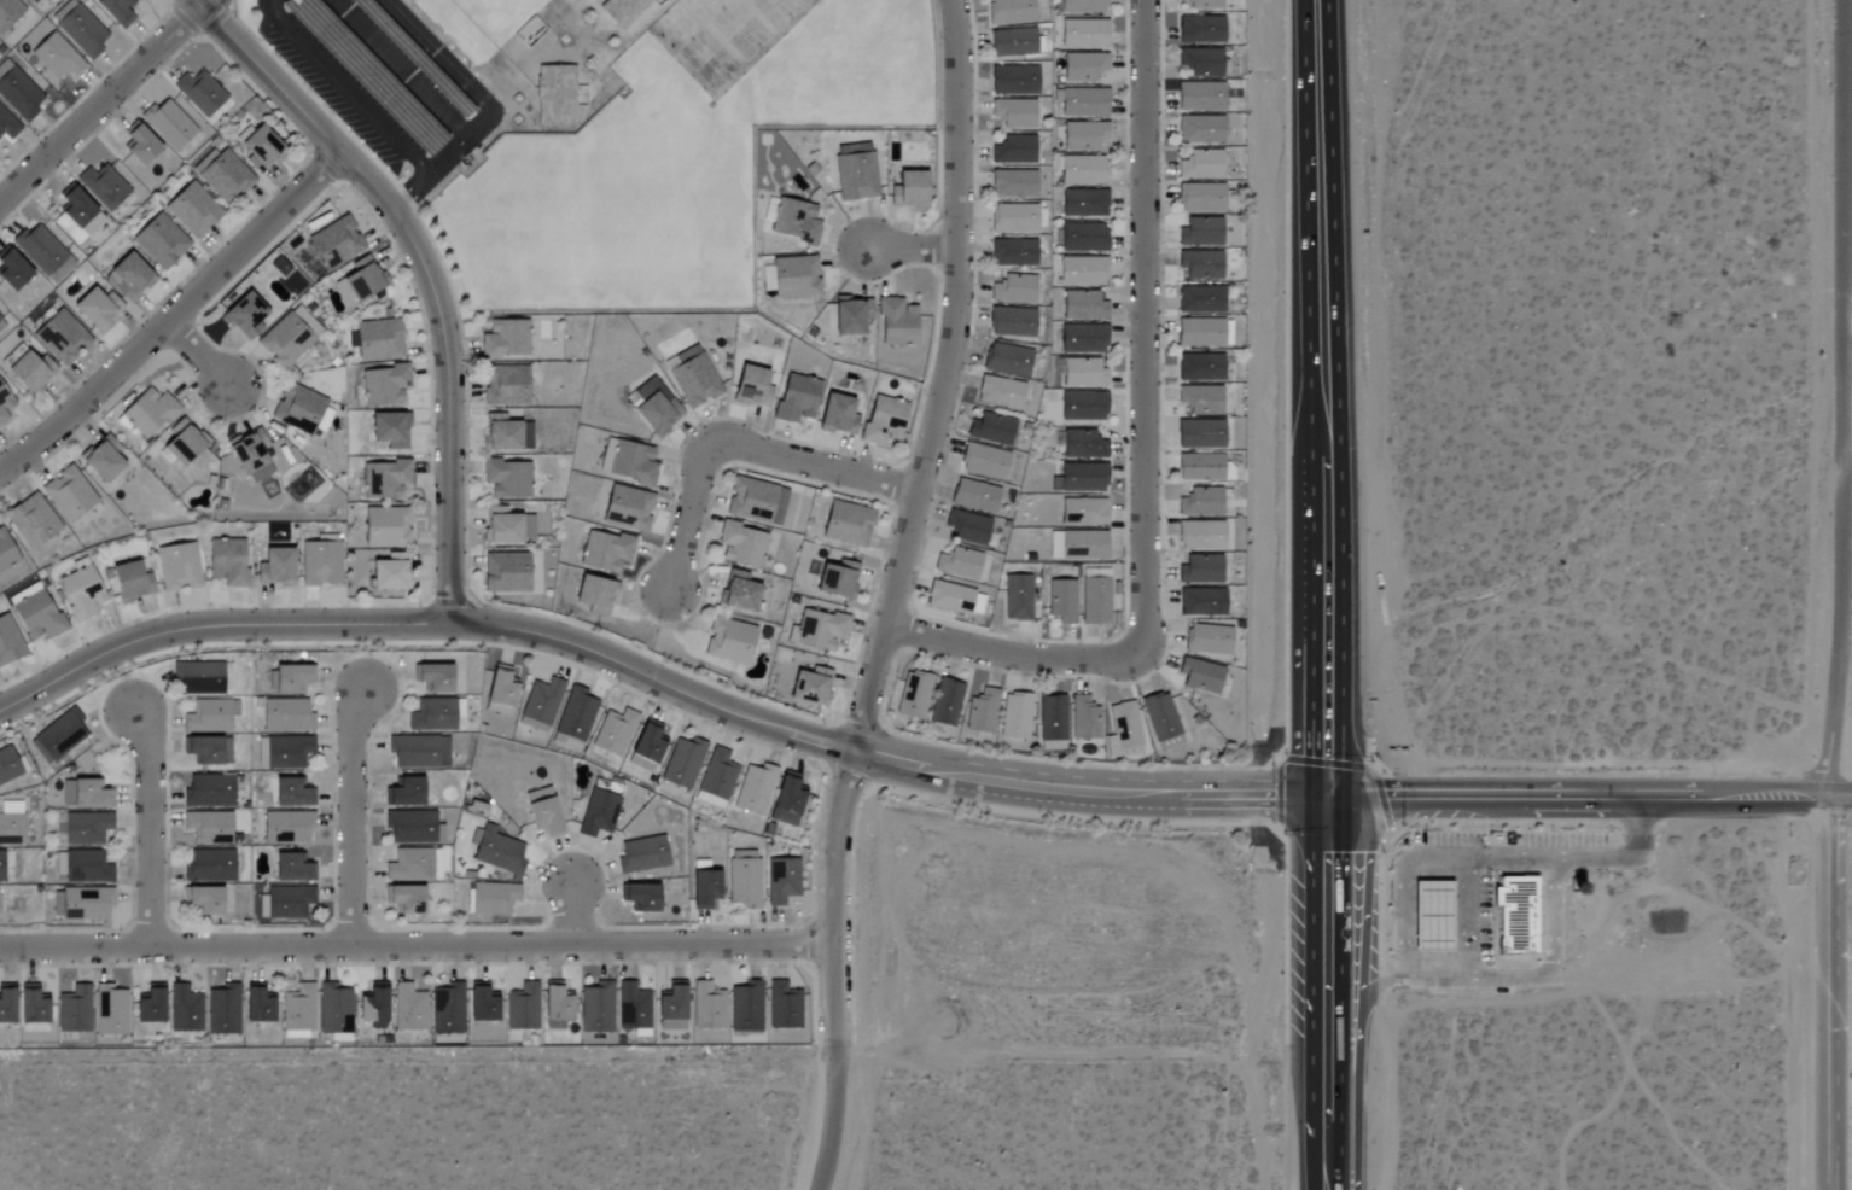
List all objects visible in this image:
building: (34, 1)
building: (1200, 5)
building: (1083, 6)
building: (622, 10)
building: (116, 11)
building: (1011, 11)
building: (8, 12)
building: (82, 30)
building: (1199, 30)
building: (1083, 34)
building: (1013, 42)
building: (56, 57)
building: (1200, 62)
building: (1083, 66)
road: (400, 68)
road: (454, 68)
building: (1013, 81)
building: (17, 92)
building: (199, 93)
building: (1200, 97)
road: (104, 101)
building: (1084, 103)
road: (361, 106)
building: (1013, 113)
building: (7, 124)
building: (168, 124)
building: (1200, 130)
building: (1084, 136)
building: (139, 146)
building: (257, 147)
building: (1013, 150)
road: (447, 154)
building: (1201, 165)
building: (1082, 170)
building: (855, 173)
building: (225, 176)
building: (1013, 183)
building: (103, 187)
building: (908, 191)
building: (1200, 198)
building: (1084, 203)
building: (192, 210)
building: (78, 212)
building: (1014, 218)
building: (794, 221)
road: (1309, 224)
building: (1200, 232)
building: (1083, 238)
building: (159, 241)
building: (337, 241)
road: (913, 249)
building: (43, 252)
building: (1013, 253)
building: (1199, 266)
road: (424, 269)
building: (11, 270)
building: (1083, 272)
building: (127, 276)
building: (794, 276)
building: (360, 281)
building: (1014, 290)
building: (1199, 301)
building: (1083, 307)
building: (95, 309)
building: (850, 316)
building: (244, 317)
road: (177, 321)
building: (1012, 322)
building: (896, 323)
road: (1142, 329)
building: (1204, 333)
building: (60, 338)
building: (289, 338)
building: (505, 339)
building: (1082, 339)
building: (378, 340)
road: (199, 356)
building: (1007, 360)
building: (1199, 367)
building: (29, 372)
building: (1083, 373)
building: (692, 378)
building: (505, 385)
building: (384, 386)
building: (751, 387)
building: (1000, 392)
road: (1338, 395)
building: (797, 398)
road: (1846, 398)
building: (1200, 399)
building: (5, 404)
building: (1083, 407)
building: (656, 408)
building: (301, 409)
building: (148, 413)
building: (837, 415)
building: (883, 421)
building: (991, 428)
building: (390, 431)
building: (1199, 433)
building: (506, 434)
building: (182, 443)
building: (1083, 445)
road: (740, 449)
building: (250, 455)
building: (101, 460)
building: (984, 461)
building: (628, 462)
building: (1199, 467)
building: (1081, 478)
building: (507, 479)
building: (385, 480)
building: (68, 495)
building: (974, 496)
building: (756, 502)
building: (1200, 502)
building: (628, 508)
building: (1083, 512)
building: (31, 521)
building: (846, 524)
building: (386, 526)
building: (506, 527)
building: (967, 527)
building: (1200, 536)
building: (1083, 544)
building: (741, 546)
building: (605, 552)
building: (6, 553)
building: (320, 561)
building: (226, 562)
building: (959, 564)
building: (275, 567)
building: (177, 568)
building: (1200, 570)
building: (388, 573)
building: (505, 573)
building: (837, 581)
building: (129, 583)
building: (738, 593)
building: (80, 594)
building: (595, 595)
road: (892, 595)
building: (954, 599)
building: (1017, 599)
building: (1061, 601)
building: (1095, 601)
building: (1201, 602)
building: (36, 614)
road: (1312, 619)
building: (820, 631)
building: (1207, 640)
building: (729, 641)
building: (8, 642)
road: (1011, 653)
road: (652, 676)
building: (1200, 676)
building: (198, 678)
building: (432, 678)
building: (291, 679)
building: (810, 688)
building: (500, 690)
building: (914, 695)
building: (542, 702)
building: (947, 702)
building: (983, 712)
building: (576, 714)
building: (286, 716)
building: (433, 716)
building: (208, 717)
building: (1015, 717)
building: (1160, 717)
building: (1084, 719)
building: (1052, 723)
building: (1124, 731)
building: (615, 733)
building: (59, 736)
building: (647, 743)
building: (208, 752)
building: (286, 752)
building: (419, 752)
building: (683, 764)
building: (7, 766)
building: (716, 780)
building: (756, 791)
traffic signals: (1314, 791)
traffic signals: (1339, 791)
building: (209, 792)
road: (1583, 793)
building: (291, 794)
building: (404, 794)
building: (86, 795)
building: (787, 800)
building: (599, 809)
building: (542, 812)
road: (360, 819)
building: (11, 824)
building: (286, 827)
building: (409, 827)
building: (208, 828)
building: (86, 829)
road: (148, 829)
building: (495, 851)
building: (641, 856)
road: (1415, 859)
building: (414, 865)
building: (209, 867)
building: (1, 868)
building: (86, 868)
building: (291, 869)
road: (1339, 869)
building: (744, 880)
building: (782, 881)
building: (704, 891)
building: (640, 898)
building: (493, 899)
building: (406, 900)
building: (204, 902)
building: (285, 903)
building: (81, 904)
road: (573, 910)
building: (1513, 910)
road: (1548, 915)
building: (1431, 916)
road: (1463, 918)
road: (419, 946)
road: (1339, 982)
road: (1312, 986)
road: (1827, 993)
road: (1369, 994)
building: (555, 1003)
building: (6, 1004)
building: (30, 1005)
building: (148, 1005)
building: (257, 1005)
building: (373, 1005)
building: (482, 1005)
building: (784, 1005)
building: (633, 1007)
building: (671, 1007)
building: (707, 1007)
building: (746, 1007)
building: (409, 1008)
building: (523, 1008)
building: (596, 1008)
building: (74, 1009)
building: (185, 1009)
building: (223, 1009)
building: (336, 1011)
building: (299, 1013)
building: (448, 1013)
building: (113, 1014)
road: (1339, 1067)
road: (1338, 1149)
road: (1312, 1185)
road: (1338, 1185)

